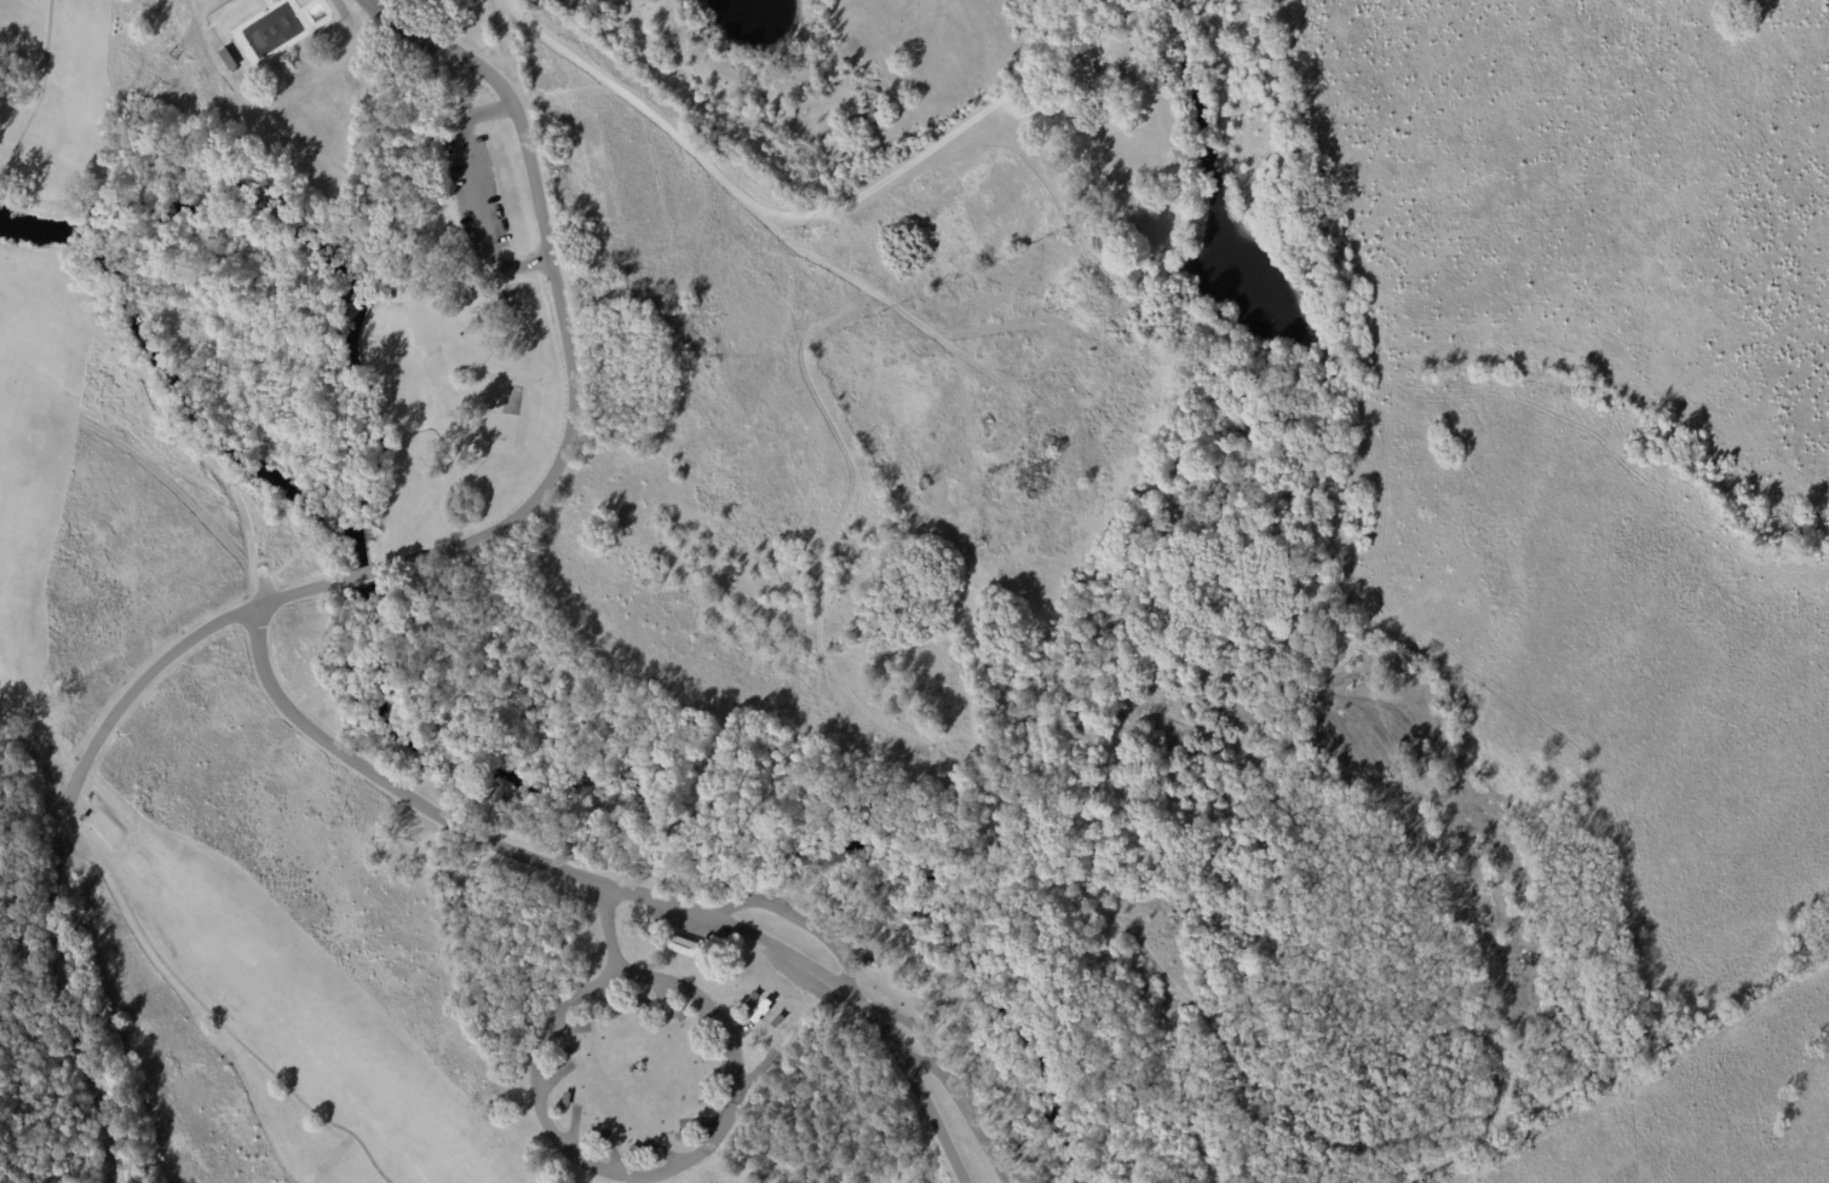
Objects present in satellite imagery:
building: (1135, 28)
road: (514, 61)
road: (645, 99)
road: (924, 150)
road: (474, 195)
road: (367, 572)
park: (649, 650)
road: (560, 872)
road: (749, 902)
road: (920, 1095)
road: (962, 1108)
road: (695, 1158)

